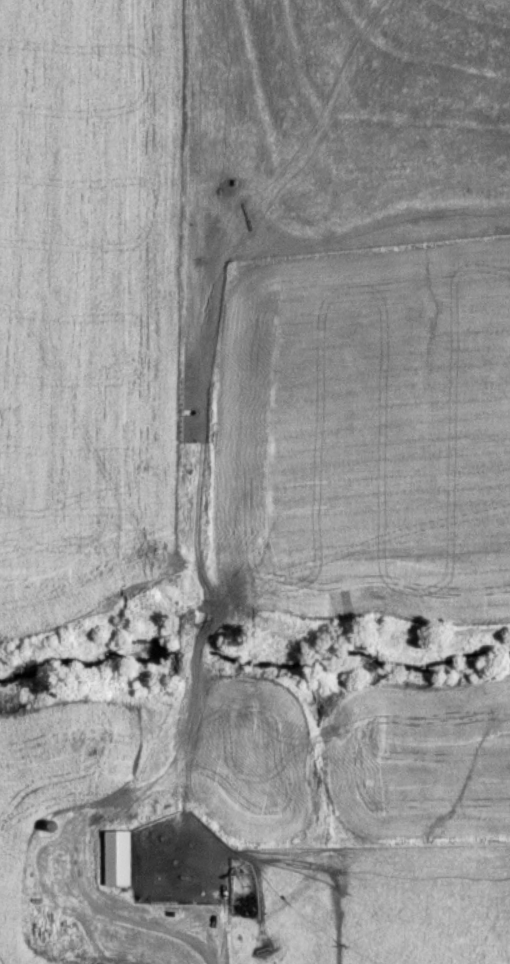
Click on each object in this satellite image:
building: (116, 856)

